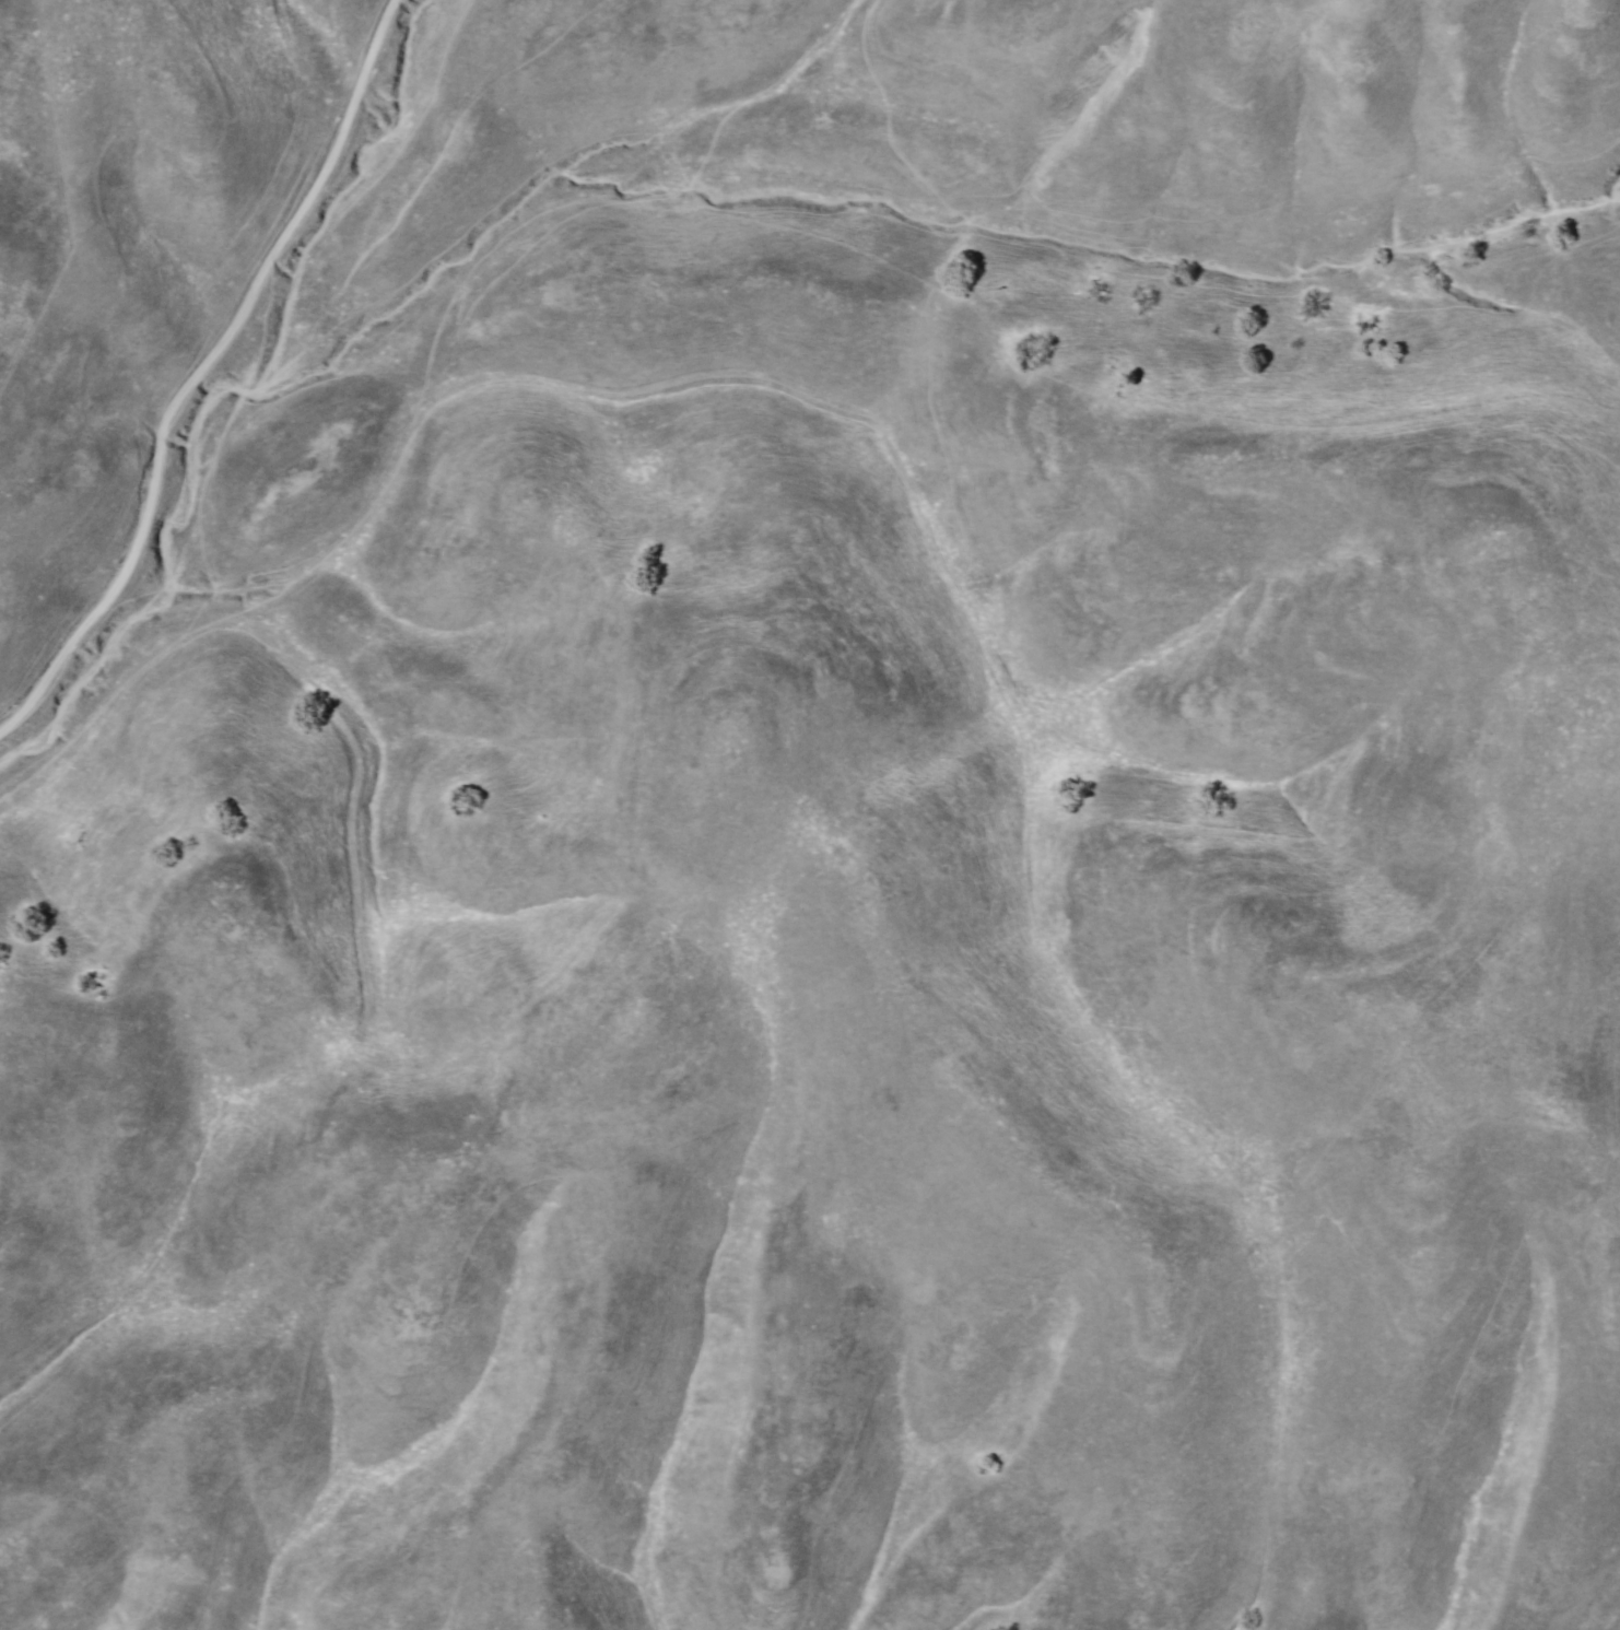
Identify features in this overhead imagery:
road: (196, 362)

